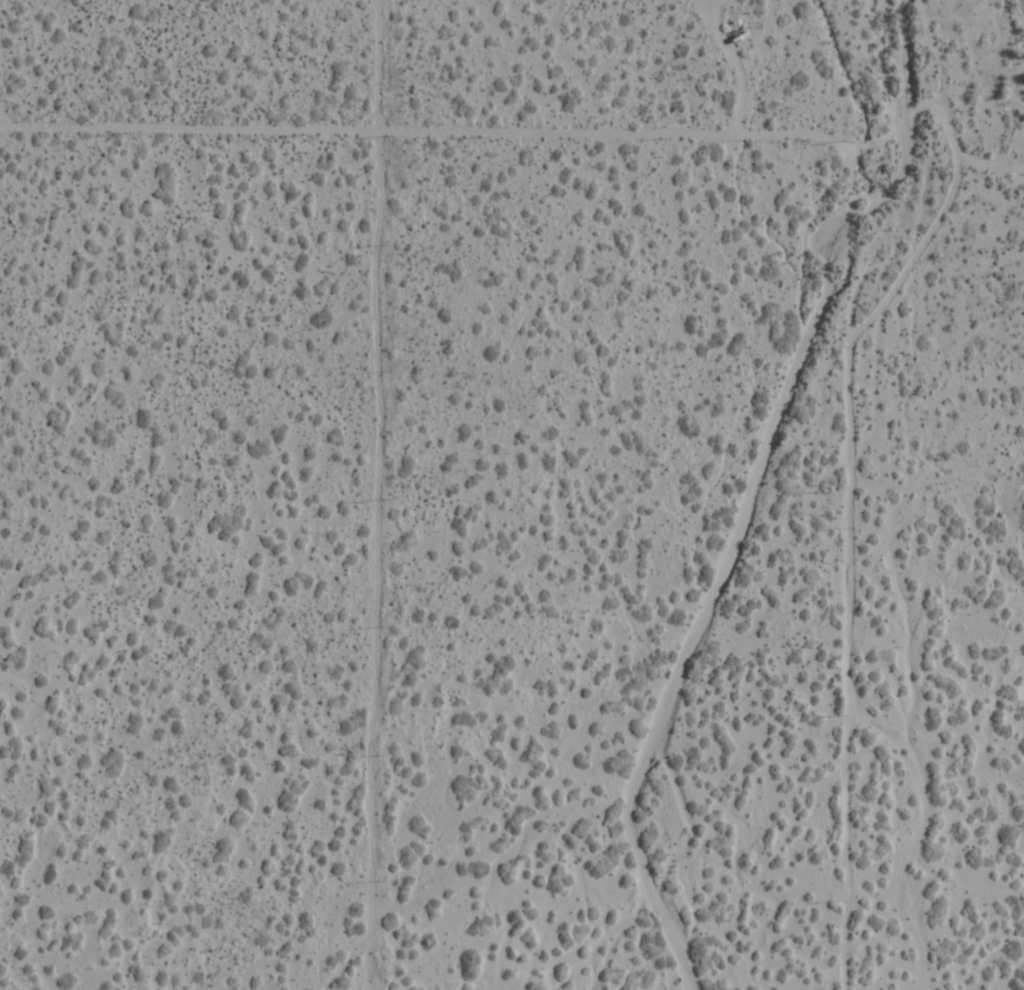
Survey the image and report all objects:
building: (1023, 525)

